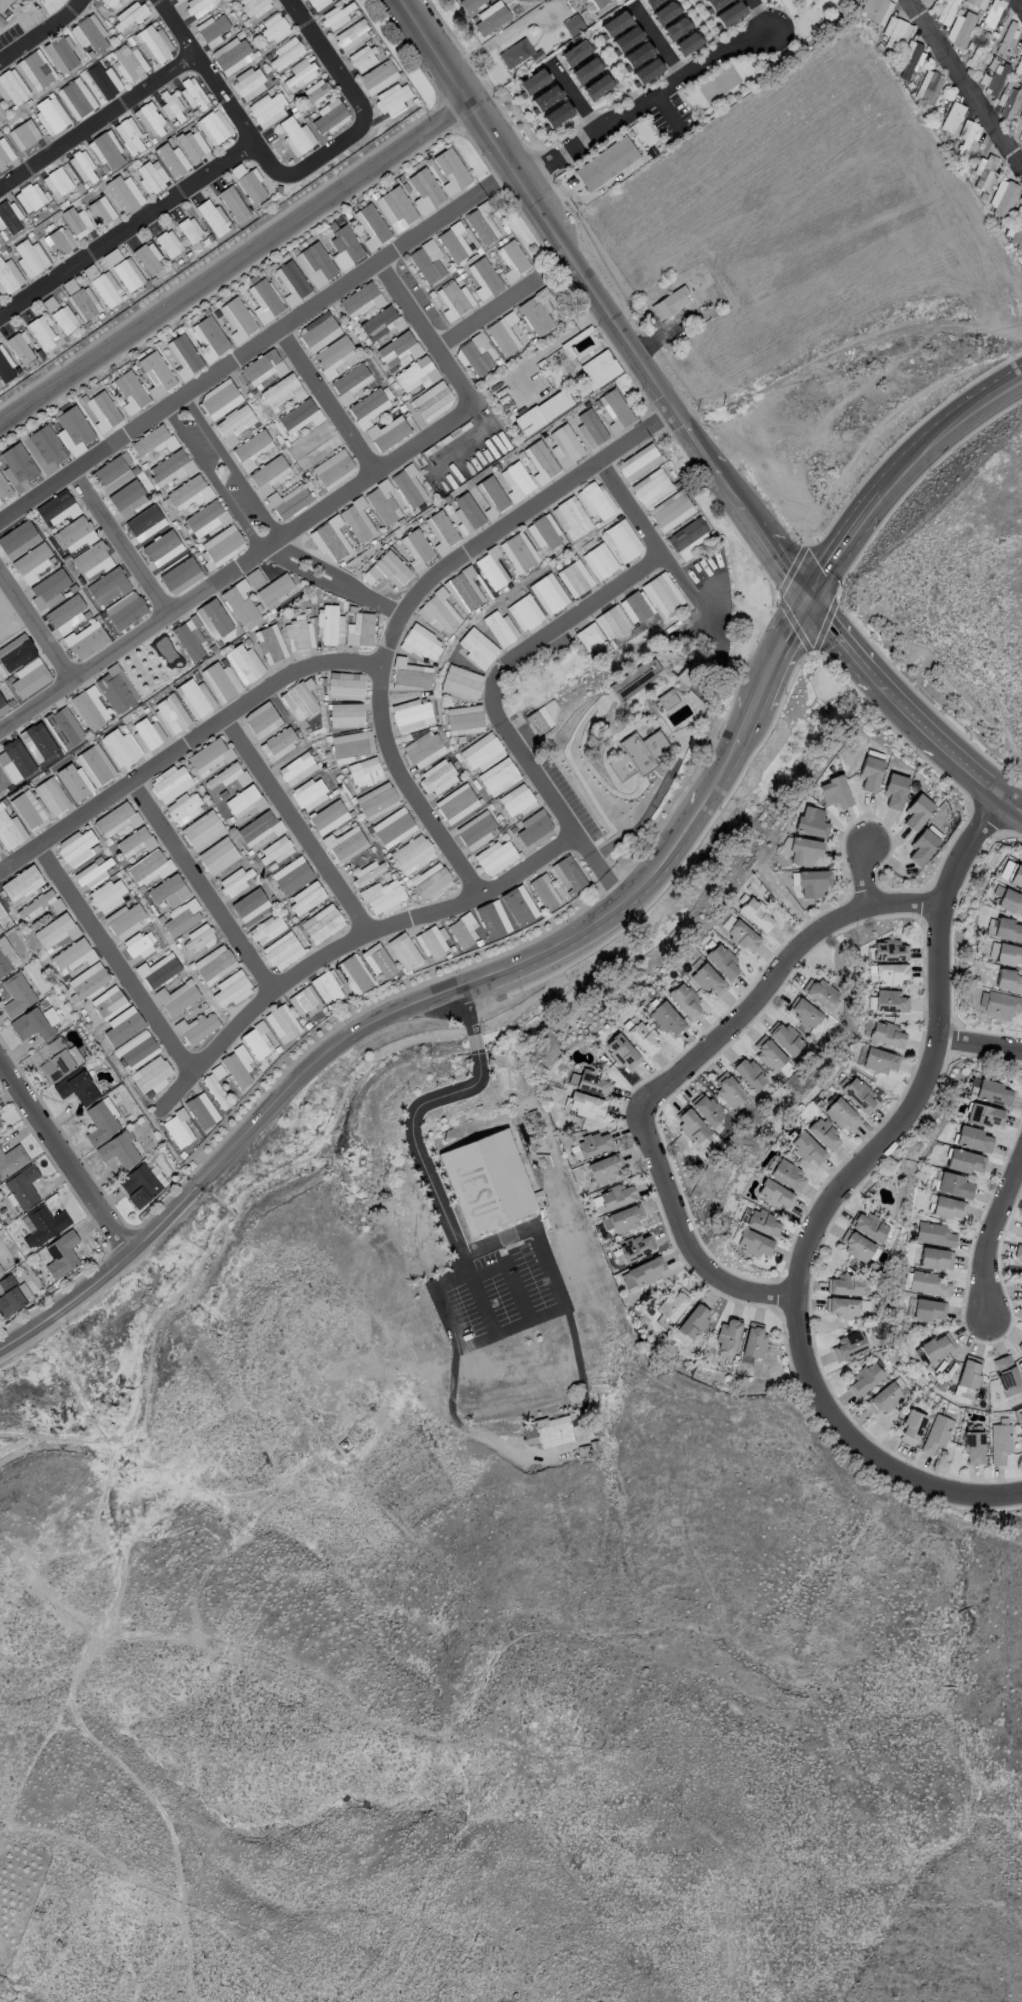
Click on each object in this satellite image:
building: (122, 0)
building: (176, 0)
building: (926, 1)
building: (109, 2)
building: (650, 2)
building: (318, 3)
building: (715, 3)
building: (976, 3)
building: (3, 4)
building: (469, 4)
building: (595, 4)
building: (199, 6)
building: (253, 6)
building: (875, 10)
building: (665, 11)
building: (945, 11)
building: (729, 14)
building: (337, 15)
road: (759, 15)
building: (129, 16)
building: (993, 16)
building: (490, 17)
building: (1, 22)
building: (572, 24)
building: (614, 24)
building: (273, 27)
building: (676, 27)
building: (959, 29)
building: (211, 30)
road: (41, 31)
building: (895, 32)
building: (89, 34)
building: (351, 35)
building: (1006, 38)
building: (624, 40)
road: (657, 41)
building: (154, 43)
building: (687, 43)
building: (286, 53)
building: (515, 53)
building: (574, 53)
building: (978, 53)
building: (60, 54)
building: (635, 55)
building: (230, 56)
building: (364, 57)
building: (908, 59)
building: (128, 62)
building: (1018, 66)
building: (583, 70)
building: (34, 71)
road: (206, 72)
building: (645, 72)
building: (300, 73)
building: (377, 77)
building: (996, 79)
building: (103, 80)
building: (248, 83)
building: (530, 83)
road: (964, 83)
building: (596, 86)
building: (928, 87)
building: (12, 88)
building: (313, 91)
building: (193, 93)
road: (575, 96)
building: (76, 98)
building: (392, 99)
building: (543, 99)
road: (357, 102)
road: (643, 102)
building: (170, 106)
building: (266, 110)
building: (1, 114)
building: (50, 114)
building: (556, 114)
building: (329, 117)
building: (951, 117)
building: (149, 120)
road: (98, 121)
building: (213, 127)
building: (23, 135)
building: (129, 136)
building: (296, 136)
building: (191, 145)
building: (105, 150)
road: (264, 159)
building: (171, 160)
building: (605, 163)
building: (81, 166)
building: (451, 171)
building: (983, 171)
building: (151, 176)
road: (498, 180)
building: (56, 182)
building: (251, 186)
building: (424, 191)
building: (124, 195)
building: (29, 198)
building: (1003, 198)
building: (233, 203)
building: (395, 208)
building: (100, 211)
building: (9, 217)
building: (212, 218)
building: (76, 222)
building: (481, 225)
building: (371, 226)
building: (189, 230)
road: (126, 231)
building: (1016, 232)
building: (59, 241)
building: (168, 243)
building: (453, 243)
building: (344, 247)
building: (30, 257)
building: (148, 258)
building: (512, 260)
building: (427, 261)
road: (233, 262)
building: (315, 264)
building: (127, 274)
building: (8, 277)
building: (483, 278)
building: (291, 282)
building: (106, 289)
building: (264, 300)
building: (360, 300)
building: (453, 300)
building: (669, 303)
road: (606, 306)
building: (75, 310)
road: (486, 312)
building: (536, 312)
building: (237, 319)
building: (380, 323)
building: (318, 332)
building: (41, 333)
building: (503, 335)
building: (208, 338)
road: (553, 341)
building: (19, 347)
building: (398, 349)
building: (474, 355)
building: (184, 356)
building: (333, 356)
road: (241, 357)
building: (263, 367)
building: (5, 368)
building: (599, 369)
building: (156, 373)
building: (416, 374)
building: (349, 382)
building: (130, 392)
building: (282, 392)
building: (219, 399)
building: (432, 401)
road: (325, 403)
building: (367, 408)
building: (615, 410)
building: (102, 411)
building: (543, 411)
building: (299, 416)
building: (234, 424)
building: (589, 428)
building: (73, 430)
building: (387, 433)
building: (153, 441)
building: (564, 445)
building: (44, 448)
building: (251, 449)
building: (540, 461)
building: (638, 462)
building: (17, 467)
building: (170, 469)
road: (230, 469)
building: (333, 469)
building: (268, 474)
building: (515, 481)
road: (211, 482)
road: (902, 484)
building: (408, 486)
building: (651, 487)
building: (4, 489)
building: (189, 493)
building: (491, 497)
building: (126, 499)
building: (595, 501)
building: (288, 502)
building: (382, 503)
building: (56, 508)
building: (670, 511)
building: (466, 513)
building: (571, 518)
building: (205, 519)
road: (306, 519)
building: (357, 520)
building: (441, 531)
building: (544, 532)
building: (74, 534)
building: (17, 539)
building: (329, 539)
road: (650, 539)
building: (688, 539)
building: (621, 541)
road: (119, 545)
building: (220, 546)
road: (471, 547)
building: (416, 549)
building: (518, 552)
building: (91, 560)
building: (599, 561)
building: (32, 563)
building: (491, 569)
building: (387, 570)
building: (180, 575)
building: (574, 578)
building: (106, 586)
building: (48, 589)
building: (463, 590)
building: (274, 591)
building: (547, 594)
building: (662, 594)
building: (240, 605)
building: (634, 607)
building: (124, 610)
building: (439, 612)
building: (524, 612)
building: (213, 620)
building: (612, 622)
building: (329, 625)
building: (499, 627)
building: (359, 630)
road: (35, 631)
building: (298, 635)
building: (189, 638)
building: (589, 638)
building: (85, 640)
road: (389, 642)
building: (420, 643)
building: (269, 644)
road: (842, 645)
building: (477, 648)
building: (16, 653)
building: (243, 664)
building: (410, 675)
building: (29, 678)
building: (633, 679)
building: (220, 681)
building: (461, 683)
building: (345, 686)
building: (115, 689)
building: (194, 698)
building: (300, 699)
building: (663, 699)
building: (1, 702)
road: (492, 703)
building: (89, 708)
building: (170, 714)
building: (345, 715)
building: (411, 715)
building: (542, 717)
building: (261, 720)
building: (464, 720)
building: (63, 728)
building: (147, 734)
road: (195, 740)
building: (37, 741)
building: (278, 744)
building: (350, 746)
building: (119, 748)
building: (423, 749)
road: (945, 749)
building: (483, 752)
building: (635, 754)
building: (209, 756)
building: (14, 760)
building: (94, 765)
building: (297, 768)
building: (870, 771)
building: (364, 772)
building: (224, 775)
building: (498, 776)
building: (437, 777)
building: (170, 783)
building: (894, 791)
building: (834, 792)
building: (310, 794)
building: (50, 796)
building: (517, 800)
building: (244, 801)
building: (376, 801)
building: (456, 803)
building: (183, 808)
building: (27, 811)
building: (917, 812)
building: (328, 817)
building: (116, 819)
building: (811, 822)
building: (533, 826)
building: (393, 827)
building: (259, 828)
road: (295, 828)
building: (201, 830)
building: (475, 830)
building: (10, 831)
building: (134, 842)
building: (345, 844)
building: (924, 844)
building: (75, 847)
building: (0, 850)
building: (803, 851)
building: (412, 854)
building: (217, 856)
building: (495, 857)
road: (19, 862)
building: (149, 867)
road: (859, 867)
building: (566, 873)
building: (92, 874)
building: (1015, 878)
building: (430, 882)
building: (21, 883)
building: (232, 883)
building: (812, 883)
road: (199, 889)
building: (168, 891)
building: (544, 892)
building: (106, 896)
building: (381, 897)
building: (306, 899)
building: (1009, 902)
building: (40, 905)
building: (249, 905)
building: (755, 915)
building: (181, 918)
building: (124, 921)
building: (727, 922)
building: (322, 923)
building: (267, 929)
building: (462, 930)
building: (1007, 930)
building: (0, 931)
building: (56, 931)
building: (743, 936)
building: (198, 939)
building: (433, 941)
road: (349, 943)
building: (137, 945)
building: (282, 951)
building: (404, 951)
building: (888, 951)
building: (1008, 954)
building: (73, 955)
building: (6, 957)
building: (378, 961)
building: (722, 961)
building: (214, 964)
building: (157, 970)
building: (889, 973)
building: (354, 974)
road: (776, 976)
building: (707, 980)
building: (87, 981)
building: (1008, 981)
building: (326, 987)
building: (231, 989)
building: (818, 993)
building: (16, 994)
road: (432, 995)
building: (177, 997)
building: (303, 1000)
building: (684, 1001)
building: (890, 1001)
building: (108, 1003)
building: (1000, 1003)
road: (463, 1005)
building: (807, 1015)
building: (667, 1019)
building: (34, 1023)
building: (282, 1023)
building: (196, 1027)
building: (885, 1034)
building: (642, 1037)
building: (786, 1038)
road: (471, 1039)
building: (256, 1040)
road: (983, 1040)
building: (136, 1049)
building: (622, 1051)
building: (799, 1052)
building: (768, 1053)
building: (59, 1060)
building: (878, 1060)
building: (237, 1066)
building: (747, 1073)
building: (150, 1075)
building: (593, 1084)
building: (215, 1087)
building: (77, 1088)
building: (728, 1090)
building: (993, 1093)
building: (858, 1095)
building: (585, 1105)
building: (709, 1111)
building: (842, 1114)
building: (984, 1116)
building: (101, 1121)
building: (177, 1128)
building: (693, 1129)
building: (823, 1134)
building: (973, 1139)
building: (593, 1144)
building: (806, 1148)
building: (118, 1150)
road: (63, 1157)
building: (11, 1160)
building: (964, 1161)
building: (603, 1167)
building: (786, 1174)
building: (486, 1181)
building: (142, 1184)
building: (954, 1185)
building: (22, 1187)
building: (774, 1194)
building: (616, 1197)
road: (838, 1199)
building: (948, 1208)
building: (622, 1219)
building: (762, 1222)
building: (42, 1225)
building: (869, 1226)
road: (527, 1228)
road: (988, 1232)
building: (934, 1234)
building: (1021, 1238)
road: (684, 1239)
building: (753, 1243)
building: (636, 1247)
building: (857, 1247)
building: (1018, 1252)
building: (61, 1255)
building: (935, 1258)
building: (641, 1273)
building: (927, 1283)
building: (847, 1285)
road: (517, 1291)
road: (477, 1294)
building: (12, 1295)
building: (673, 1304)
building: (842, 1307)
building: (928, 1309)
building: (693, 1321)
building: (753, 1341)
building: (936, 1346)
road: (578, 1364)
building: (1006, 1375)
building: (967, 1376)
building: (864, 1378)
building: (883, 1398)
road: (459, 1424)
building: (911, 1427)
building: (547, 1432)
building: (936, 1434)
building: (999, 1443)
road: (563, 1446)
building: (971, 1446)

